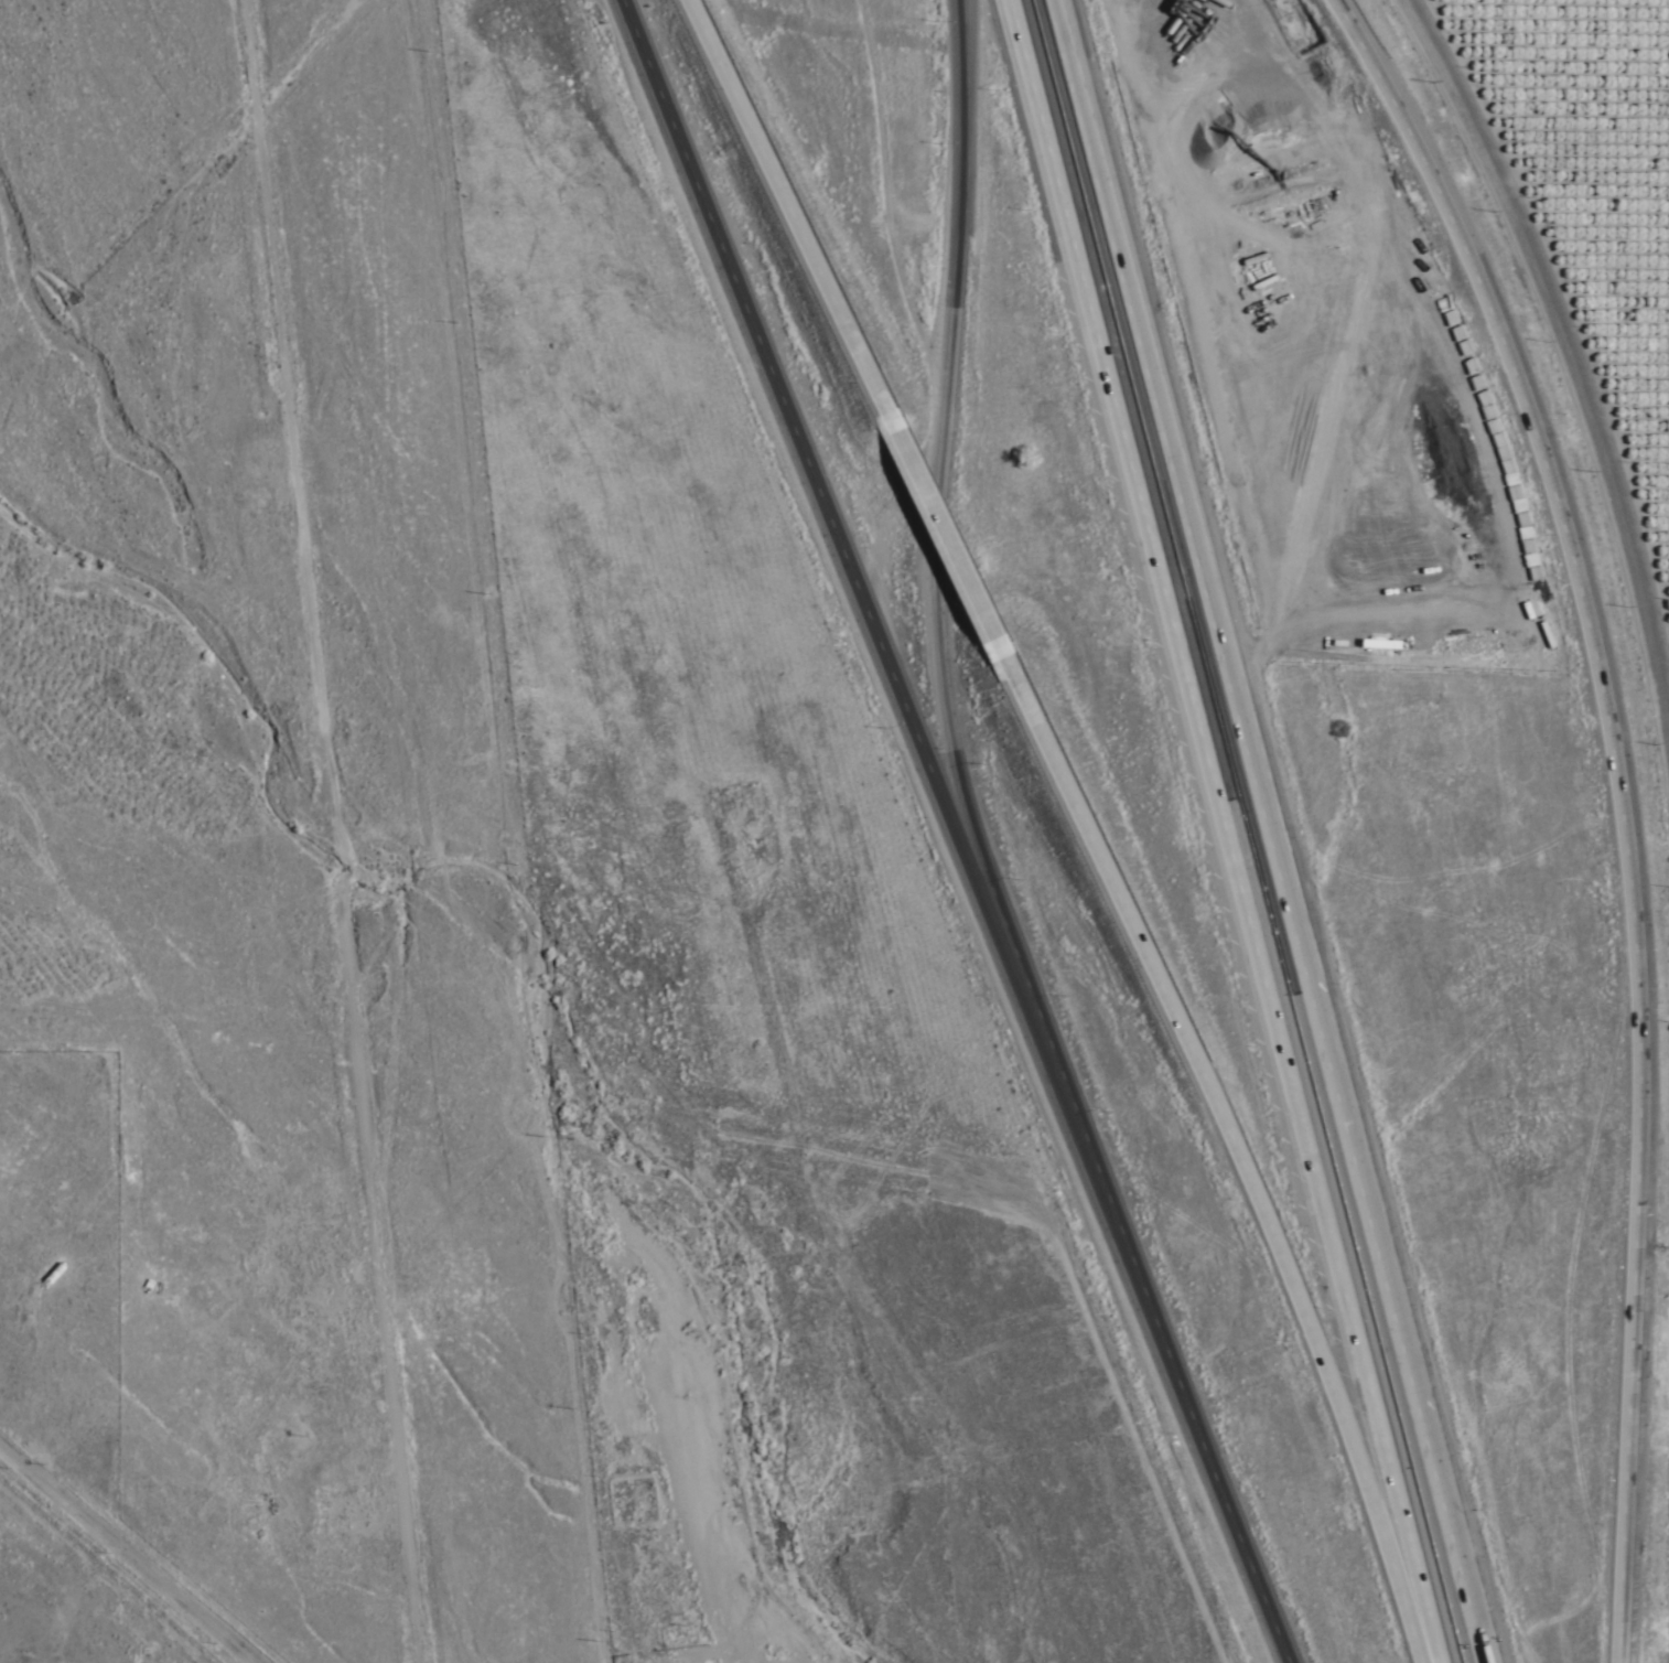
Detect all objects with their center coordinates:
road: (798, 218)
crop: (1587, 233)
road: (1574, 352)
road: (941, 474)
road: (957, 546)
road: (1618, 805)
road: (338, 830)
road: (955, 830)
road: (1223, 830)
road: (1272, 831)
road: (1237, 1150)
quarry: (254, 1189)
road: (127, 1554)
crop: (1660, 1592)

